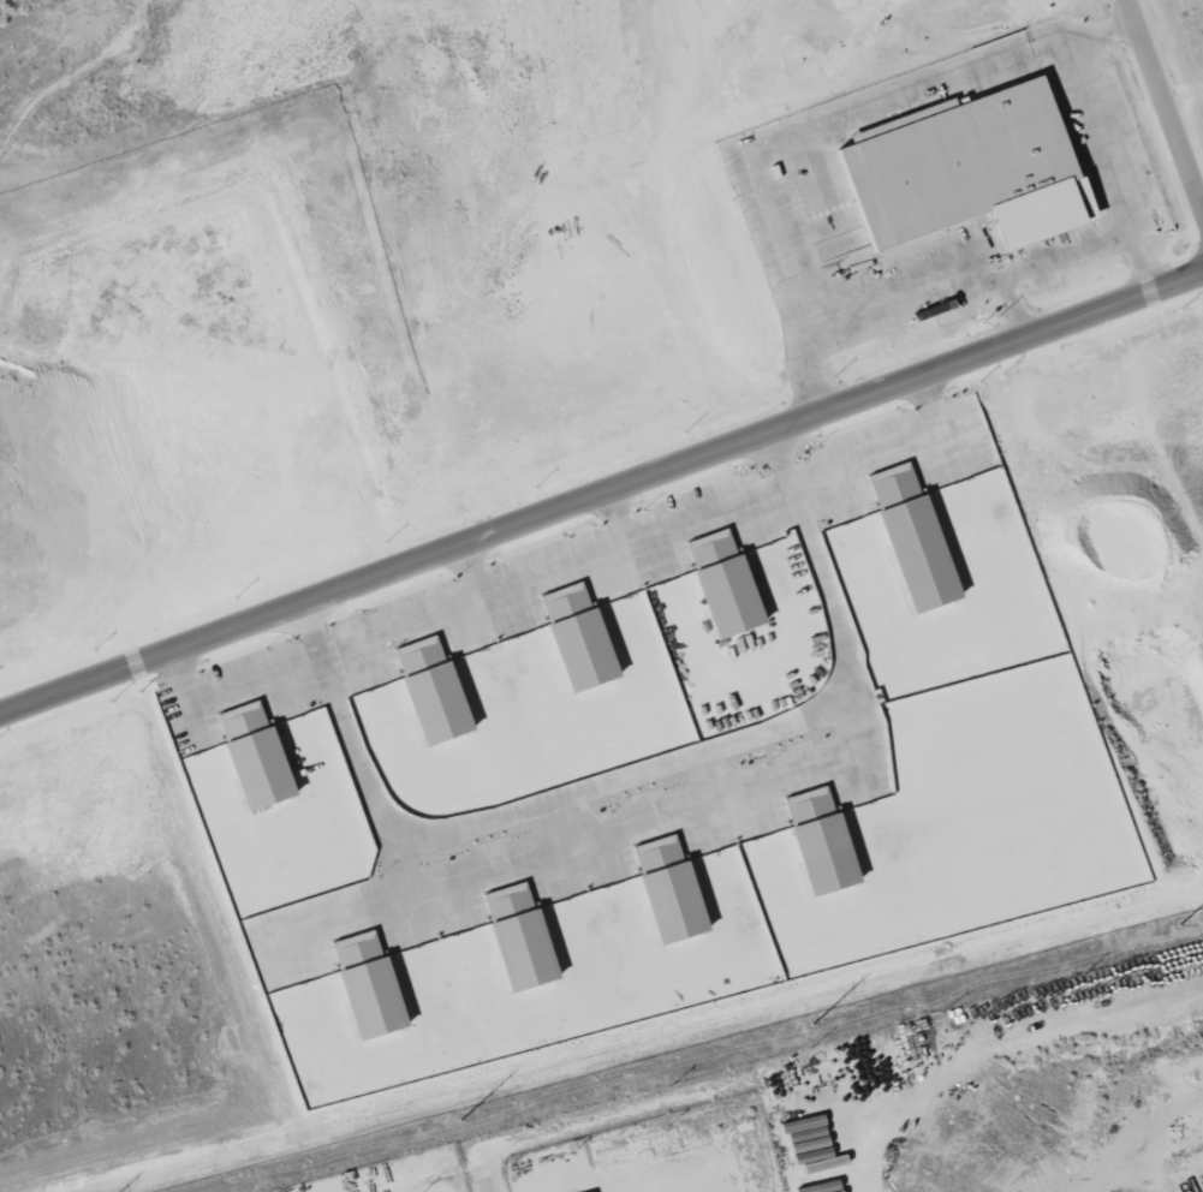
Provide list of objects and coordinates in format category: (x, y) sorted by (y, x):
road: (601, 515)
building: (909, 537)
building: (720, 583)
building: (574, 637)
building: (428, 691)
building: (251, 756)
building: (816, 841)
building: (665, 889)
road: (632, 890)
power tower: (1172, 926)
building: (516, 937)
building: (364, 985)
power tower: (805, 1026)
power tower: (459, 1120)
road: (482, 1191)

